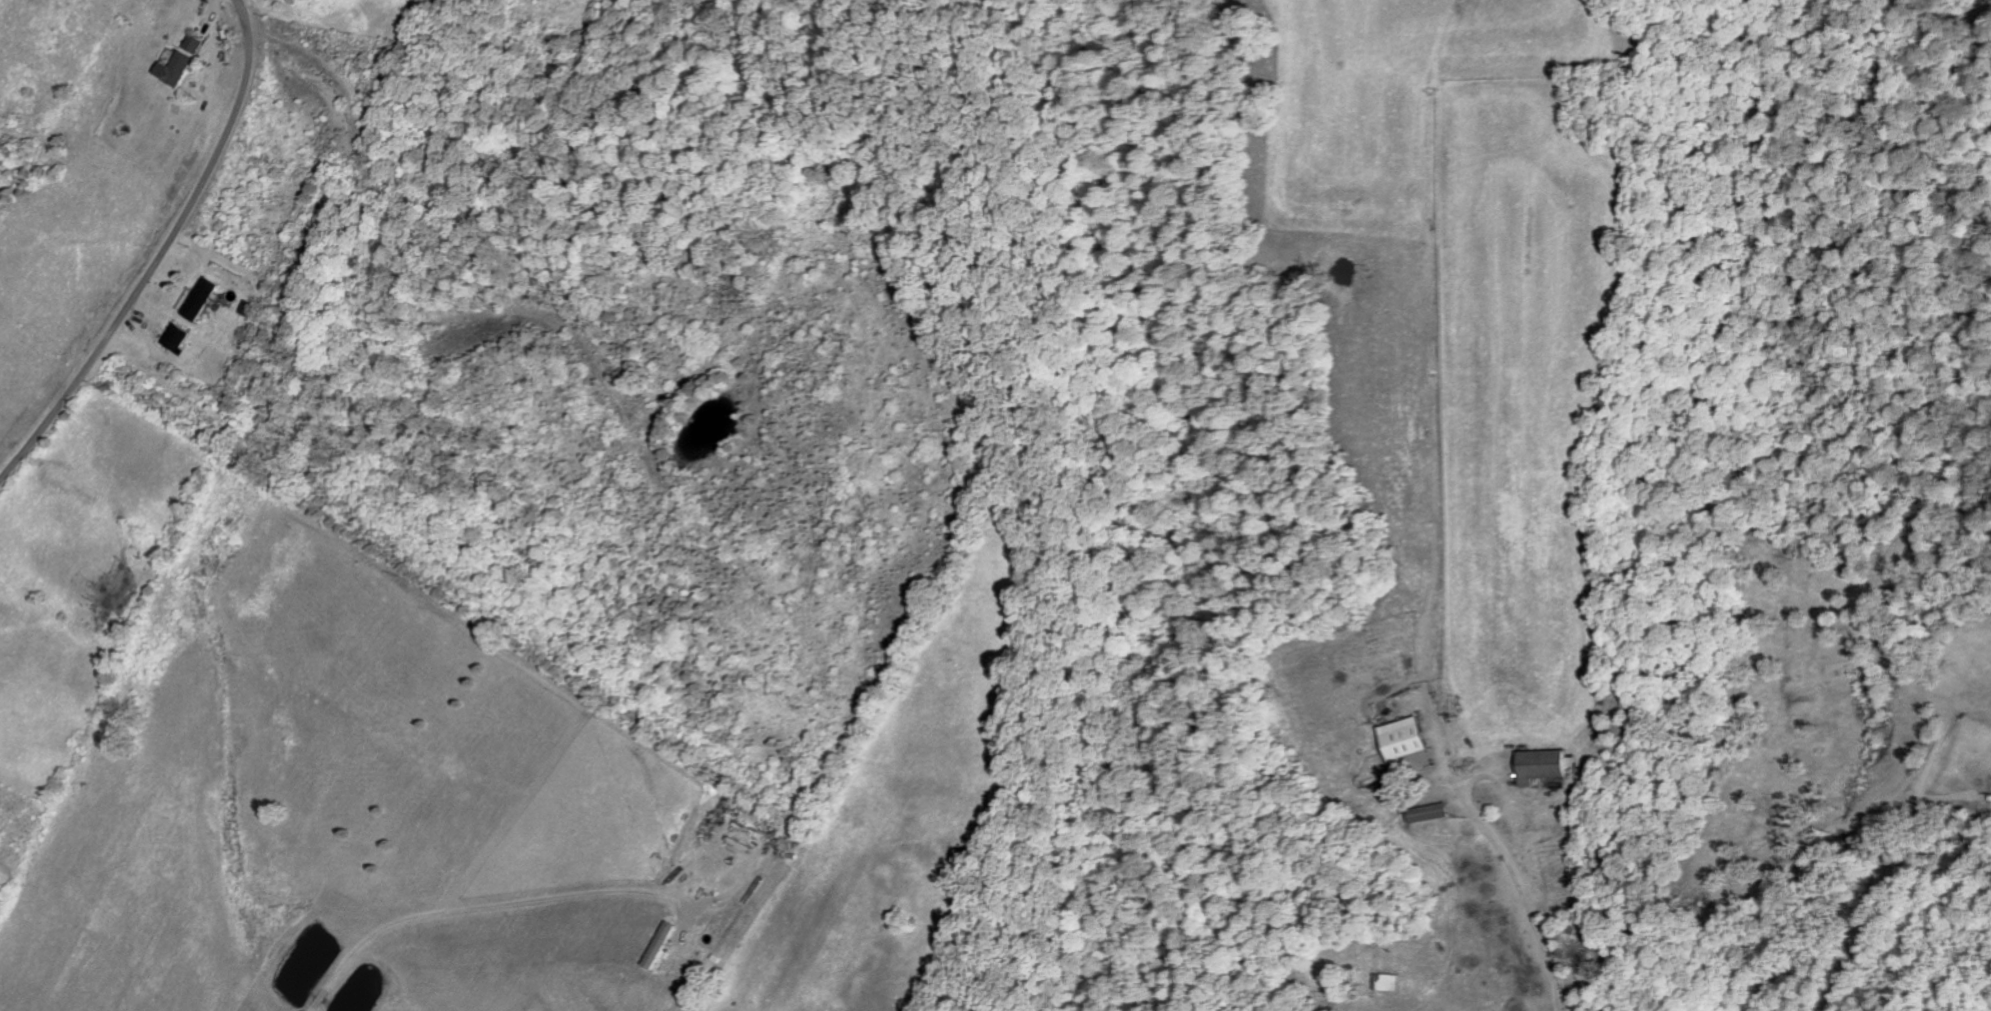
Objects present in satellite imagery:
building: (195, 44)
building: (177, 69)
road: (162, 254)
building: (202, 299)
building: (178, 338)
building: (1408, 746)
building: (1543, 766)
building: (1430, 813)
road: (1871, 843)
road: (529, 903)
building: (661, 945)

